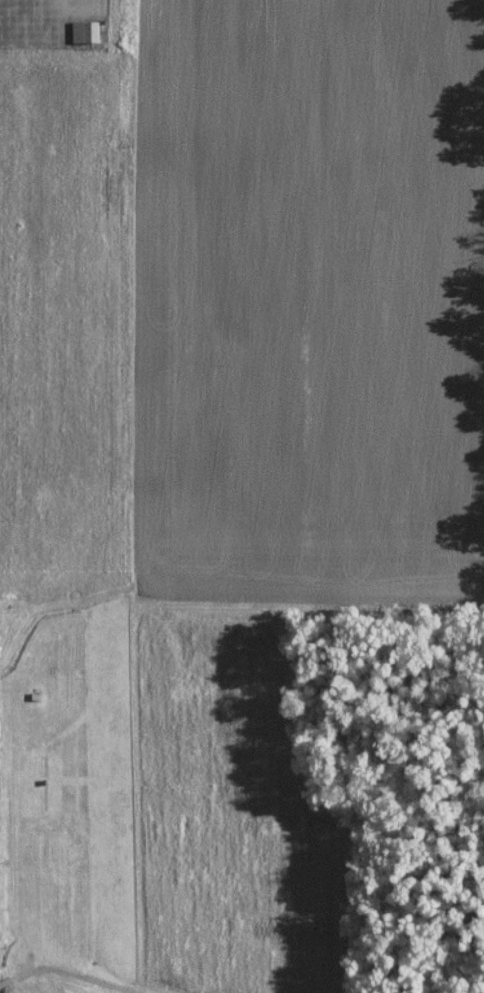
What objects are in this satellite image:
road: (83, 7)
parking lot: (45, 21)
building: (87, 32)
road: (43, 34)
road: (20, 976)
road: (3, 983)

